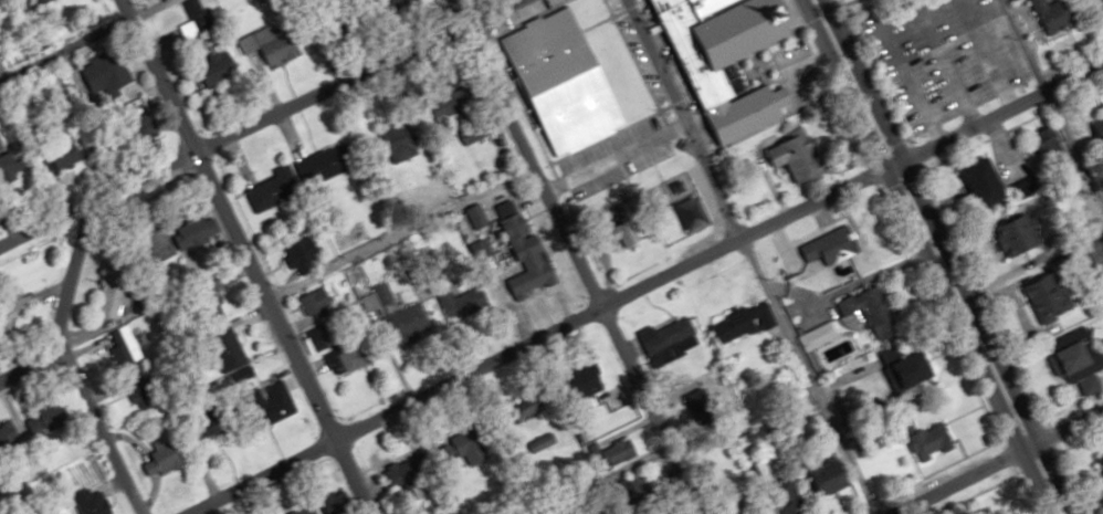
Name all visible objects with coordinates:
building: (1013, 0)
building: (1102, 1)
road: (17, 7)
building: (198, 15)
building: (1055, 15)
building: (280, 44)
road: (1025, 46)
parking lot: (939, 53)
road: (984, 55)
building: (728, 59)
road: (901, 62)
road: (946, 64)
parking lot: (794, 66)
building: (218, 69)
building: (112, 70)
building: (565, 81)
road: (996, 117)
road: (255, 122)
building: (140, 124)
building: (474, 137)
building: (1047, 146)
building: (65, 150)
road: (1075, 150)
building: (798, 155)
building: (332, 161)
building: (989, 182)
building: (274, 190)
building: (198, 232)
building: (1020, 234)
building: (162, 241)
building: (834, 245)
building: (304, 254)
road: (252, 256)
road: (570, 256)
road: (749, 256)
road: (931, 256)
building: (524, 282)
building: (117, 295)
building: (1051, 296)
building: (318, 303)
building: (464, 303)
road: (64, 305)
building: (873, 312)
building: (740, 319)
building: (408, 323)
road: (527, 336)
building: (679, 336)
building: (819, 336)
building: (123, 347)
building: (233, 347)
building: (353, 355)
building: (1081, 355)
building: (916, 368)
building: (587, 379)
building: (144, 395)
building: (277, 401)
building: (527, 407)
building: (55, 412)
road: (1062, 423)
road: (94, 429)
building: (225, 429)
building: (10, 432)
building: (934, 441)
building: (466, 448)
building: (621, 451)
building: (170, 455)
building: (406, 474)
building: (831, 474)
road: (587, 476)
road: (955, 479)
building: (789, 499)
building: (92, 501)
building: (306, 511)
building: (757, 513)

